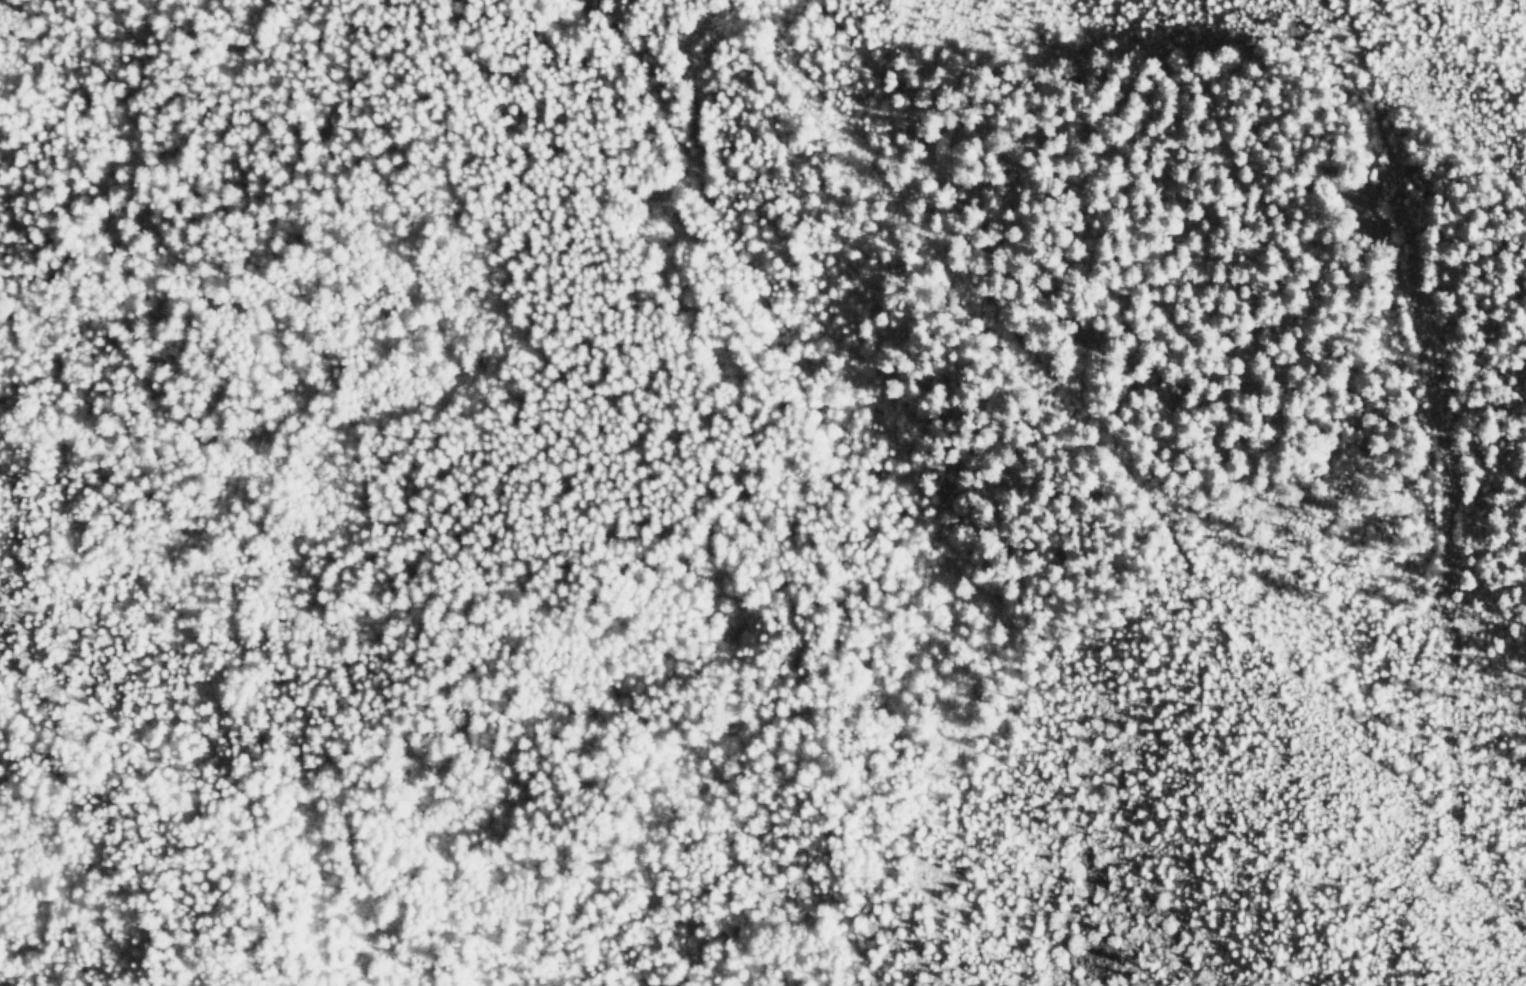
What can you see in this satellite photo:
road: (705, 40)

